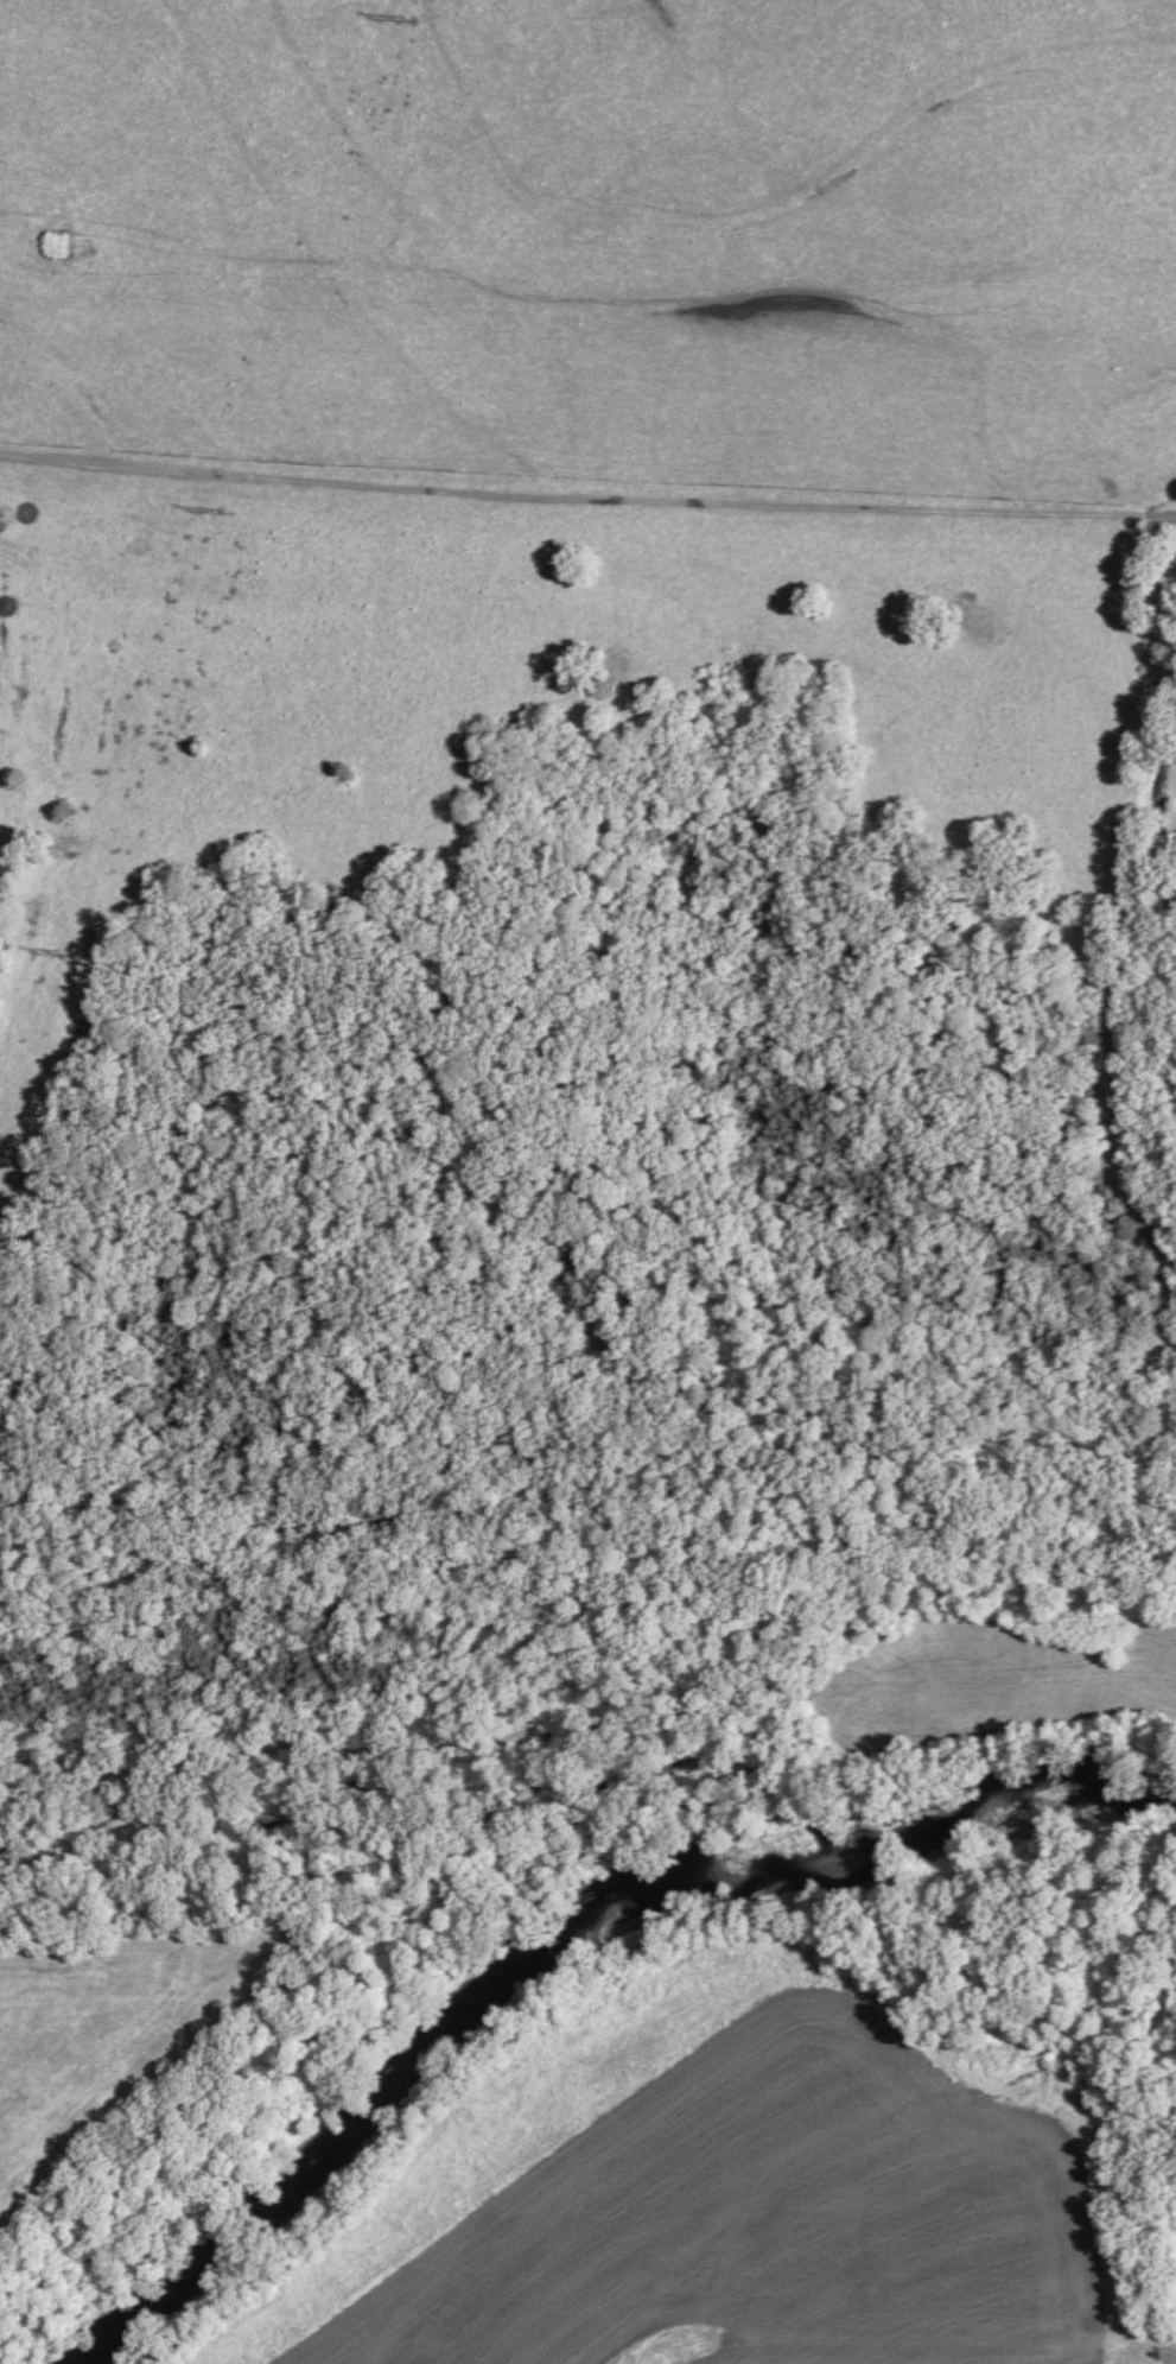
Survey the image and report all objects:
power tower: (400, 19)
road: (586, 497)
power tower: (220, 501)
power tower: (57, 947)
river: (555, 1938)

